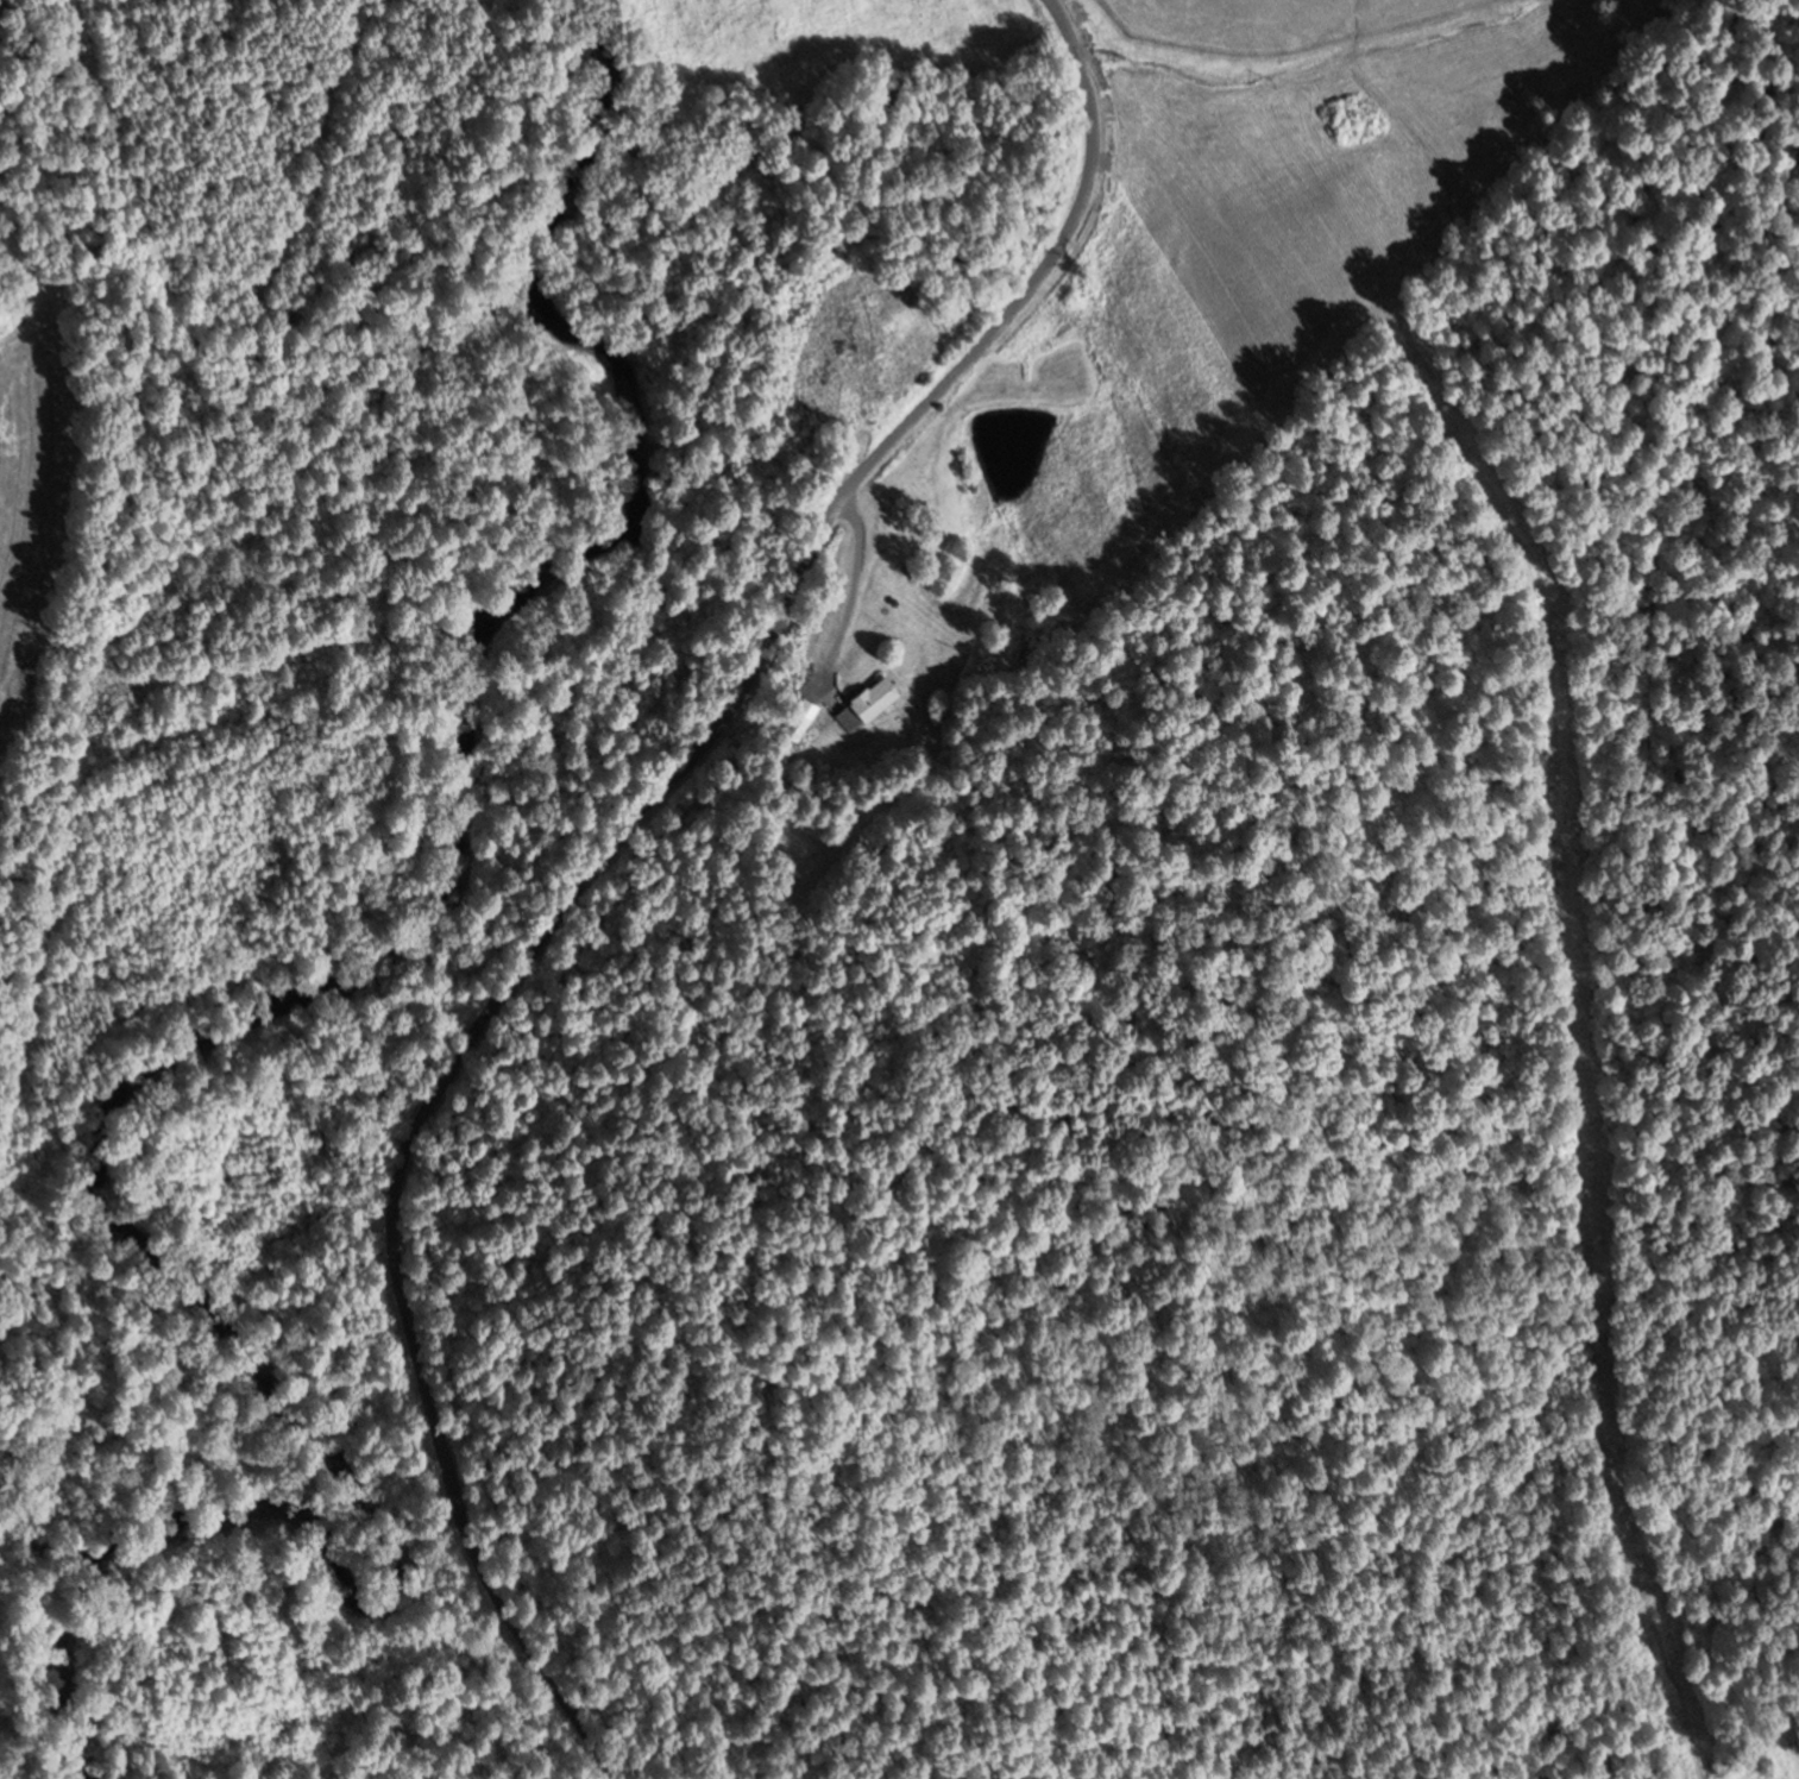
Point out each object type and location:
building: (864, 700)
road: (606, 856)

